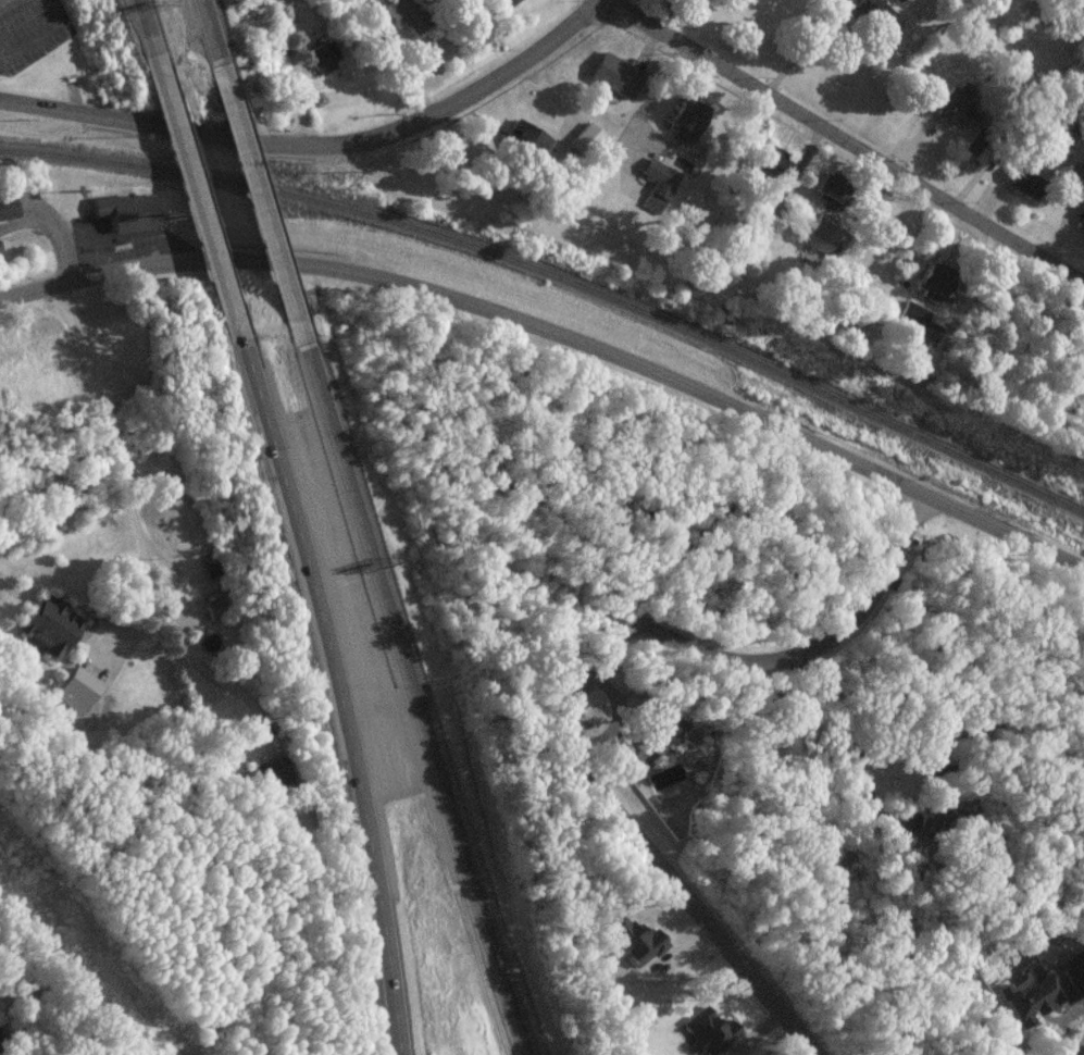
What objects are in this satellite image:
road: (603, 2)
road: (147, 29)
road: (208, 29)
building: (410, 32)
parking lot: (29, 34)
road: (29, 40)
road: (801, 49)
building: (315, 67)
building: (612, 84)
building: (676, 132)
road: (844, 147)
road: (324, 150)
road: (189, 182)
road: (254, 184)
building: (1017, 193)
road: (29, 204)
building: (8, 213)
building: (126, 214)
road: (27, 224)
building: (1081, 228)
building: (819, 235)
road: (63, 255)
building: (1, 261)
road: (346, 272)
road: (80, 282)
railway: (559, 283)
building: (922, 290)
road: (805, 444)
road: (137, 533)
road: (334, 673)
road: (608, 681)
road: (409, 682)
building: (76, 697)

